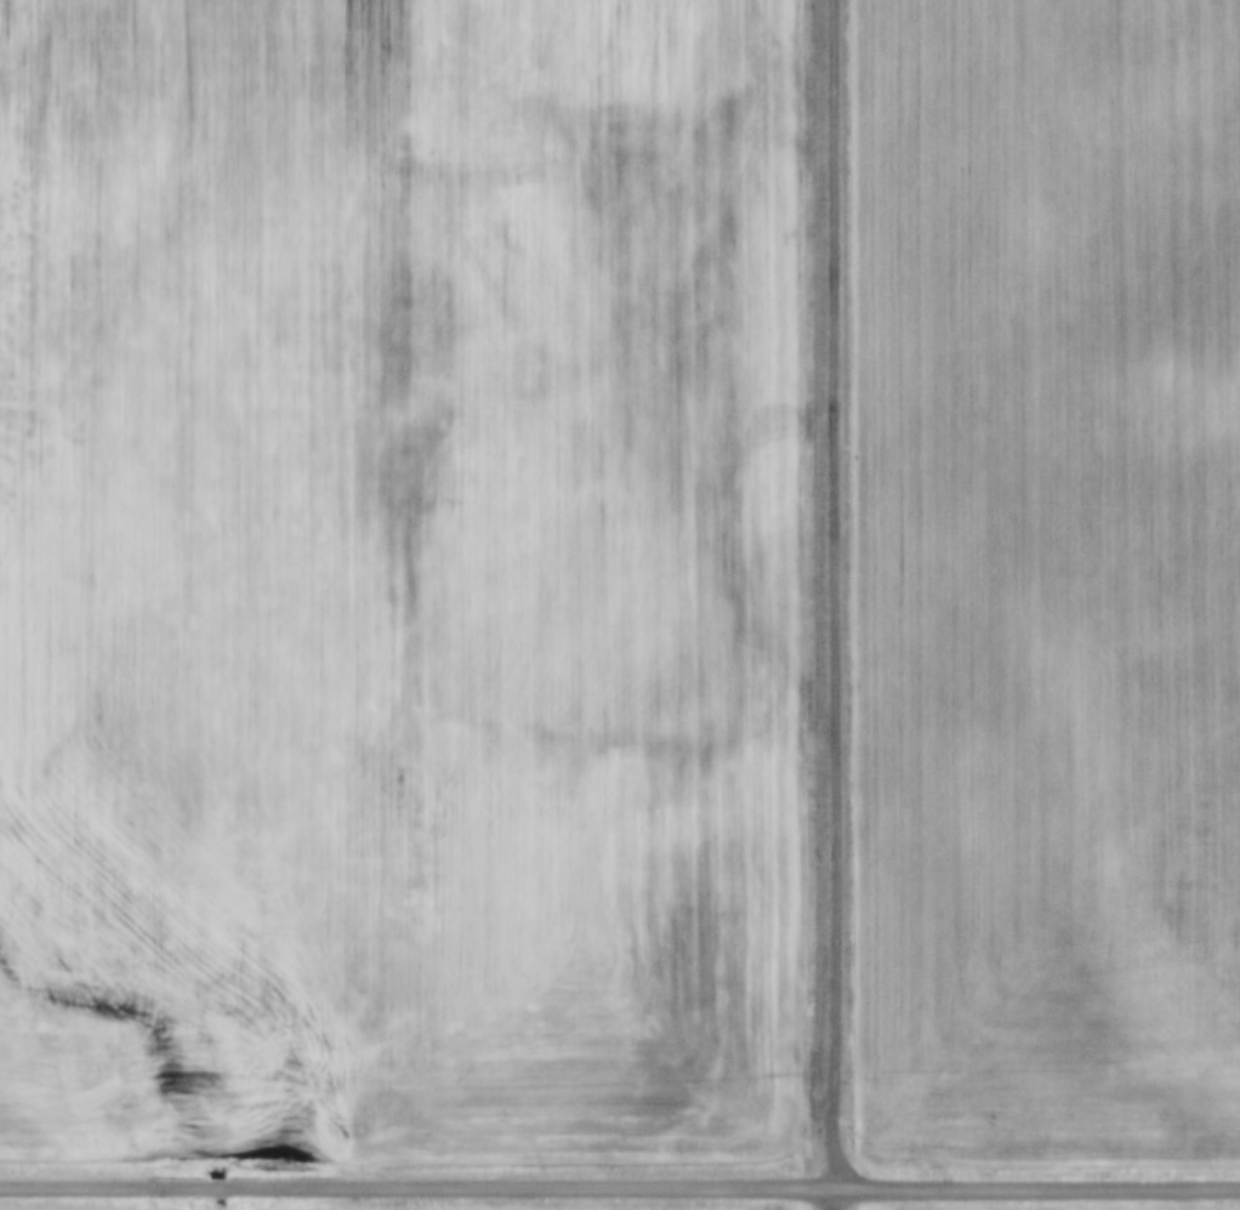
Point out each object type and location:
road: (834, 604)
road: (619, 1187)

